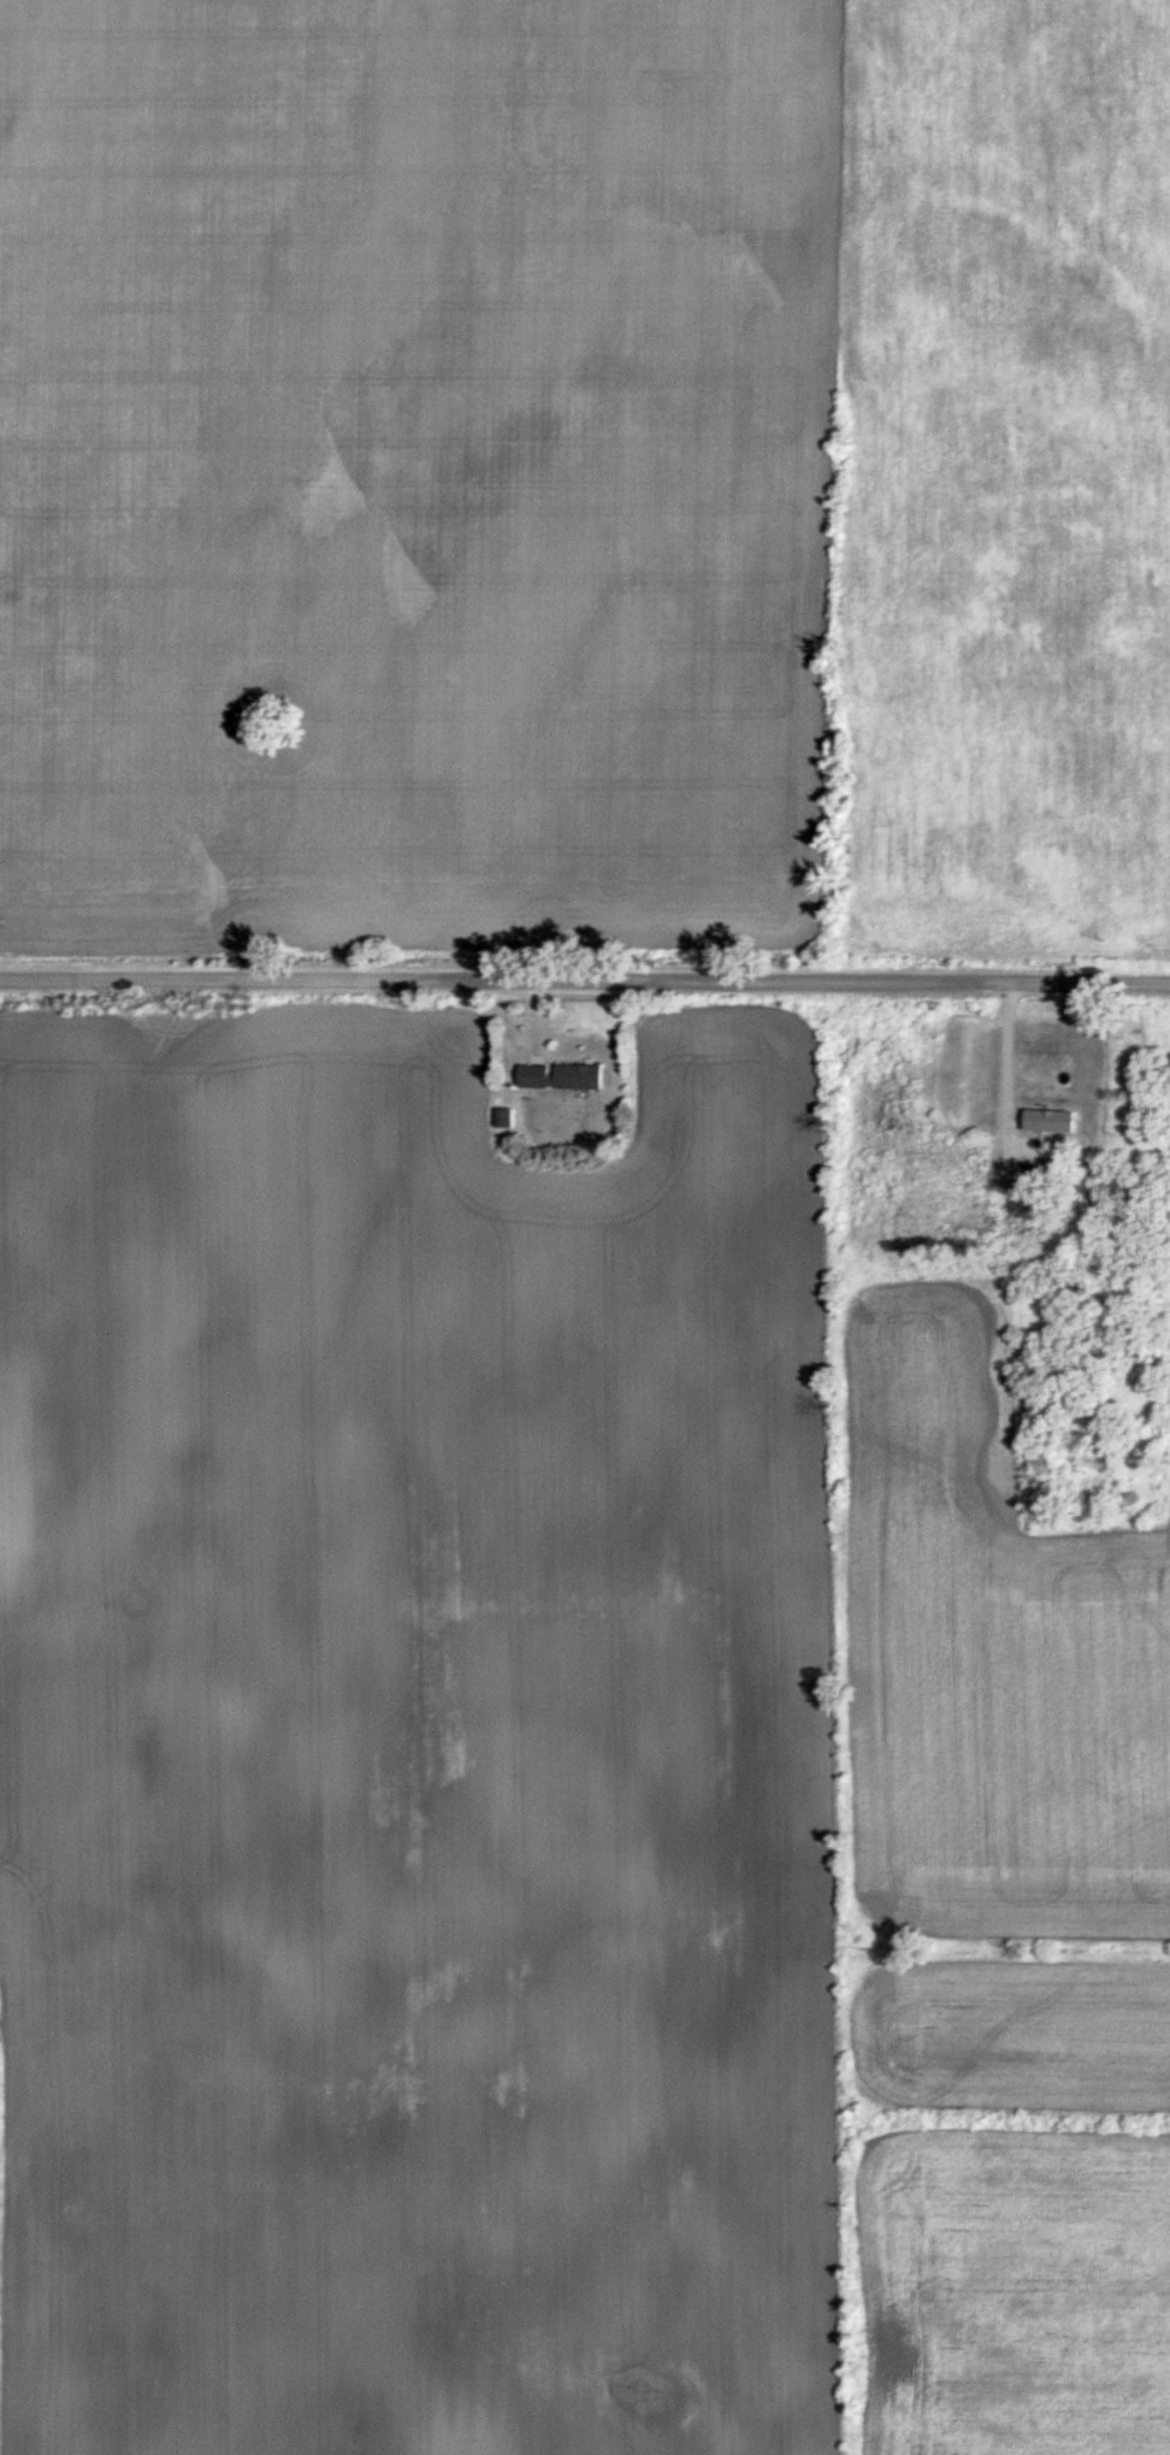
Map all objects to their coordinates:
road: (585, 975)
building: (566, 1075)
building: (1054, 1120)

